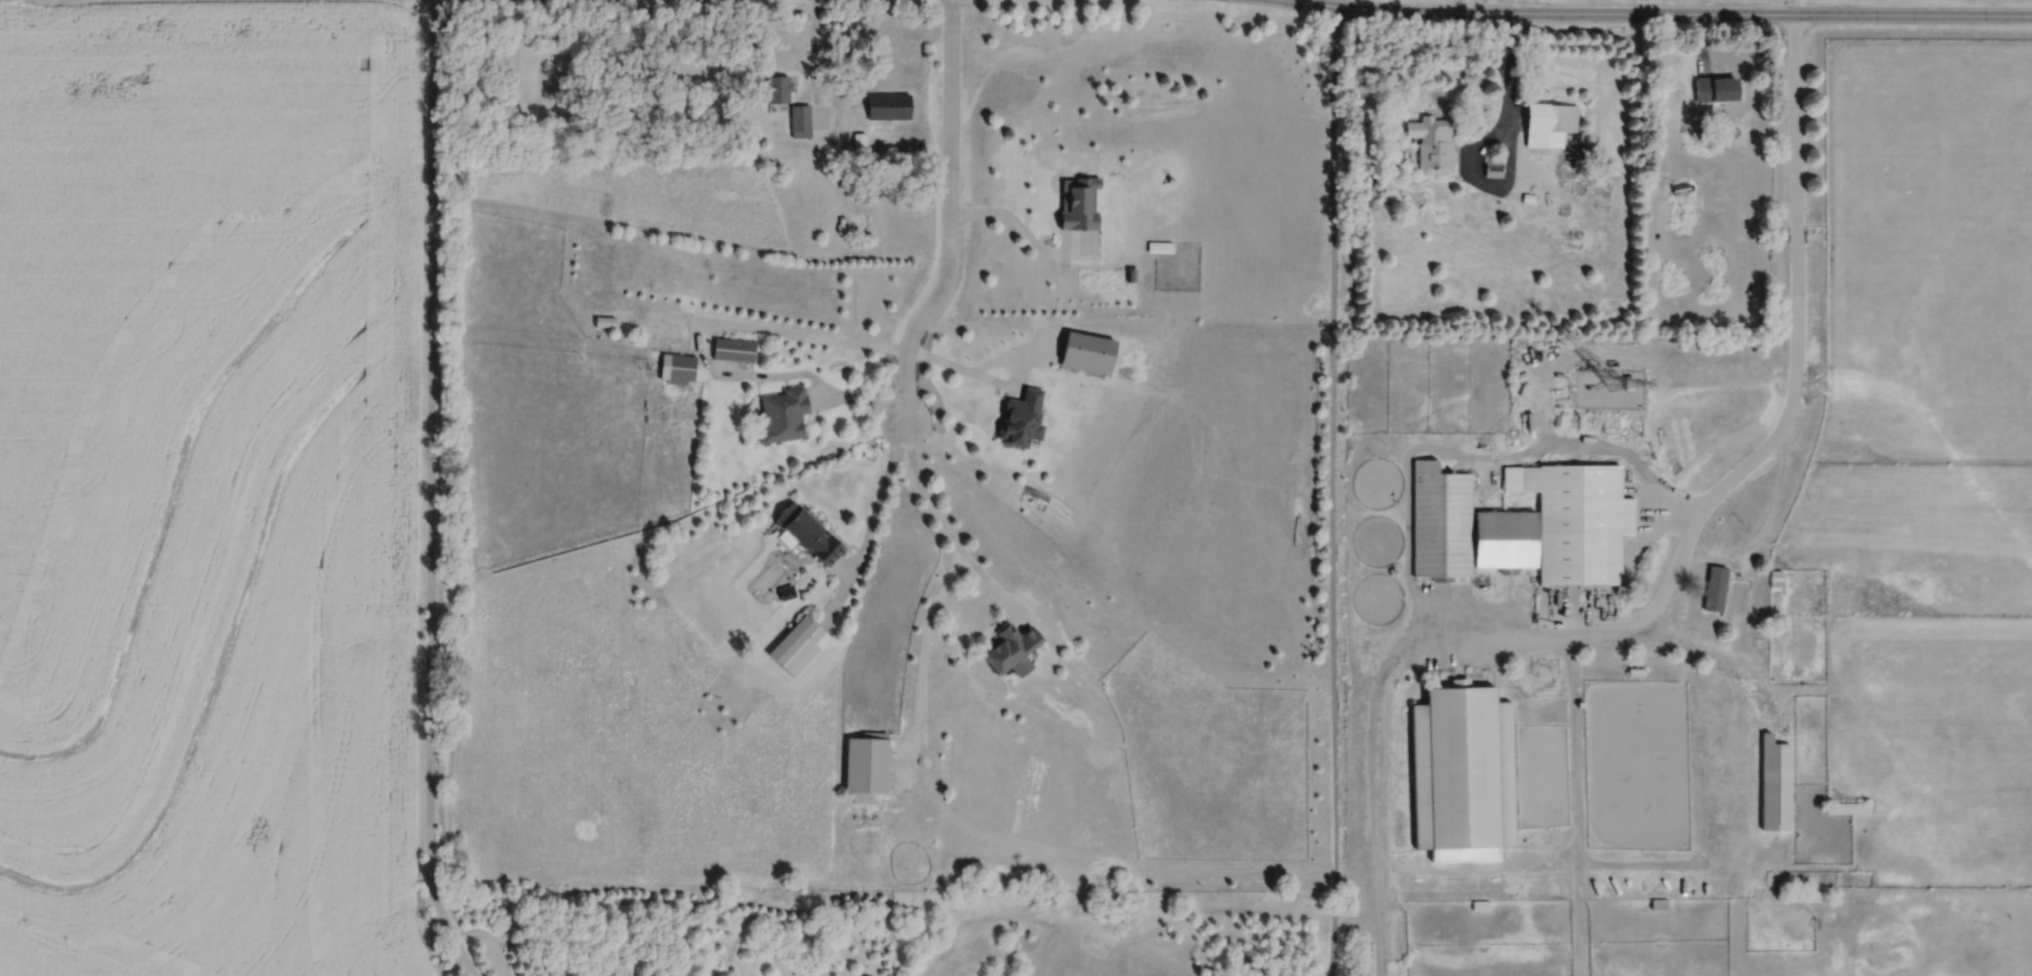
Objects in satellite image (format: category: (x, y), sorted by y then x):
road: (1330, 2)
road: (1664, 12)
road: (1509, 57)
road: (812, 64)
road: (833, 72)
building: (778, 88)
building: (1717, 89)
building: (889, 106)
building: (800, 121)
building: (1550, 121)
building: (1433, 144)
building: (1493, 169)
road: (1486, 182)
building: (1079, 202)
building: (1683, 203)
road: (949, 217)
building: (859, 224)
road: (1023, 228)
road: (1080, 241)
road: (1063, 265)
road: (712, 318)
building: (733, 349)
road: (1015, 353)
building: (678, 368)
road: (960, 368)
road: (1018, 373)
road: (821, 396)
road: (870, 399)
building: (784, 416)
road: (1331, 490)
road: (923, 491)
road: (429, 493)
building: (1526, 525)
road: (869, 527)
building: (810, 533)
road: (842, 564)
building: (1776, 581)
road: (994, 588)
building: (1716, 589)
road: (1531, 635)
building: (799, 646)
building: (1014, 650)
road: (922, 666)
building: (866, 766)
building: (1462, 775)
building: (1775, 784)
building: (1850, 808)

